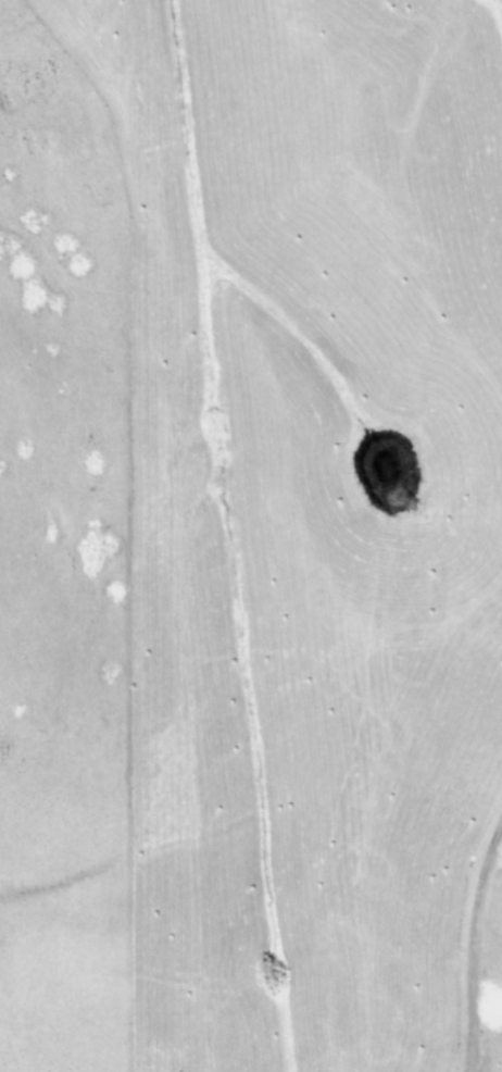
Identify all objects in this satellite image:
crop: (251, 536)

